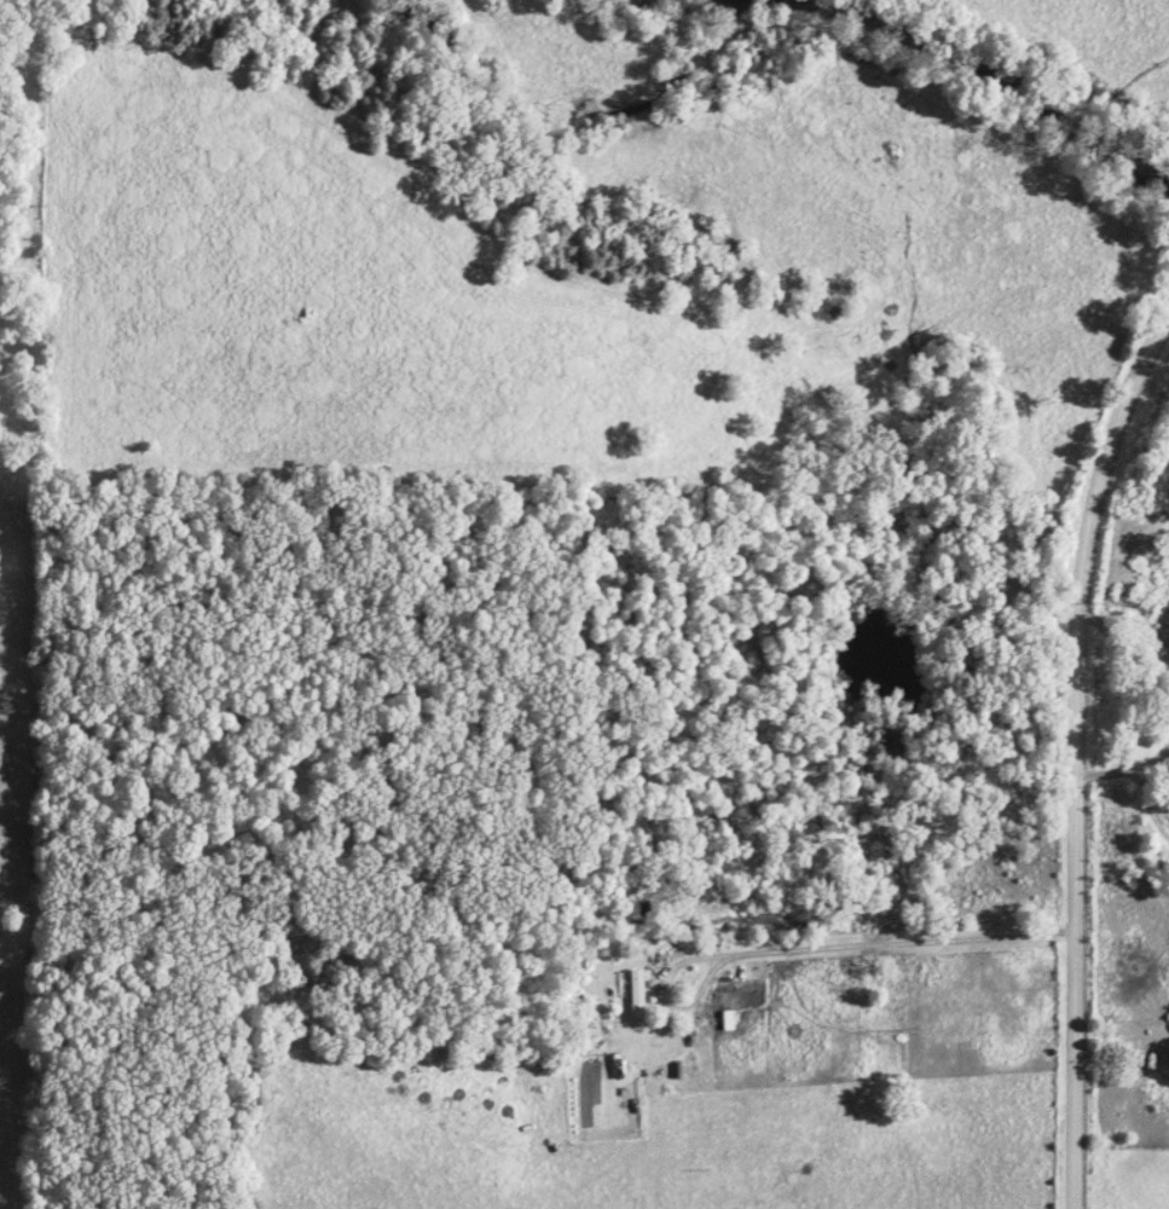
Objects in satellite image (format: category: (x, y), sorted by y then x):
road: (1122, 660)
road: (1071, 745)
road: (1127, 776)
road: (803, 949)
building: (637, 995)
building: (728, 1022)
road: (1117, 1035)

